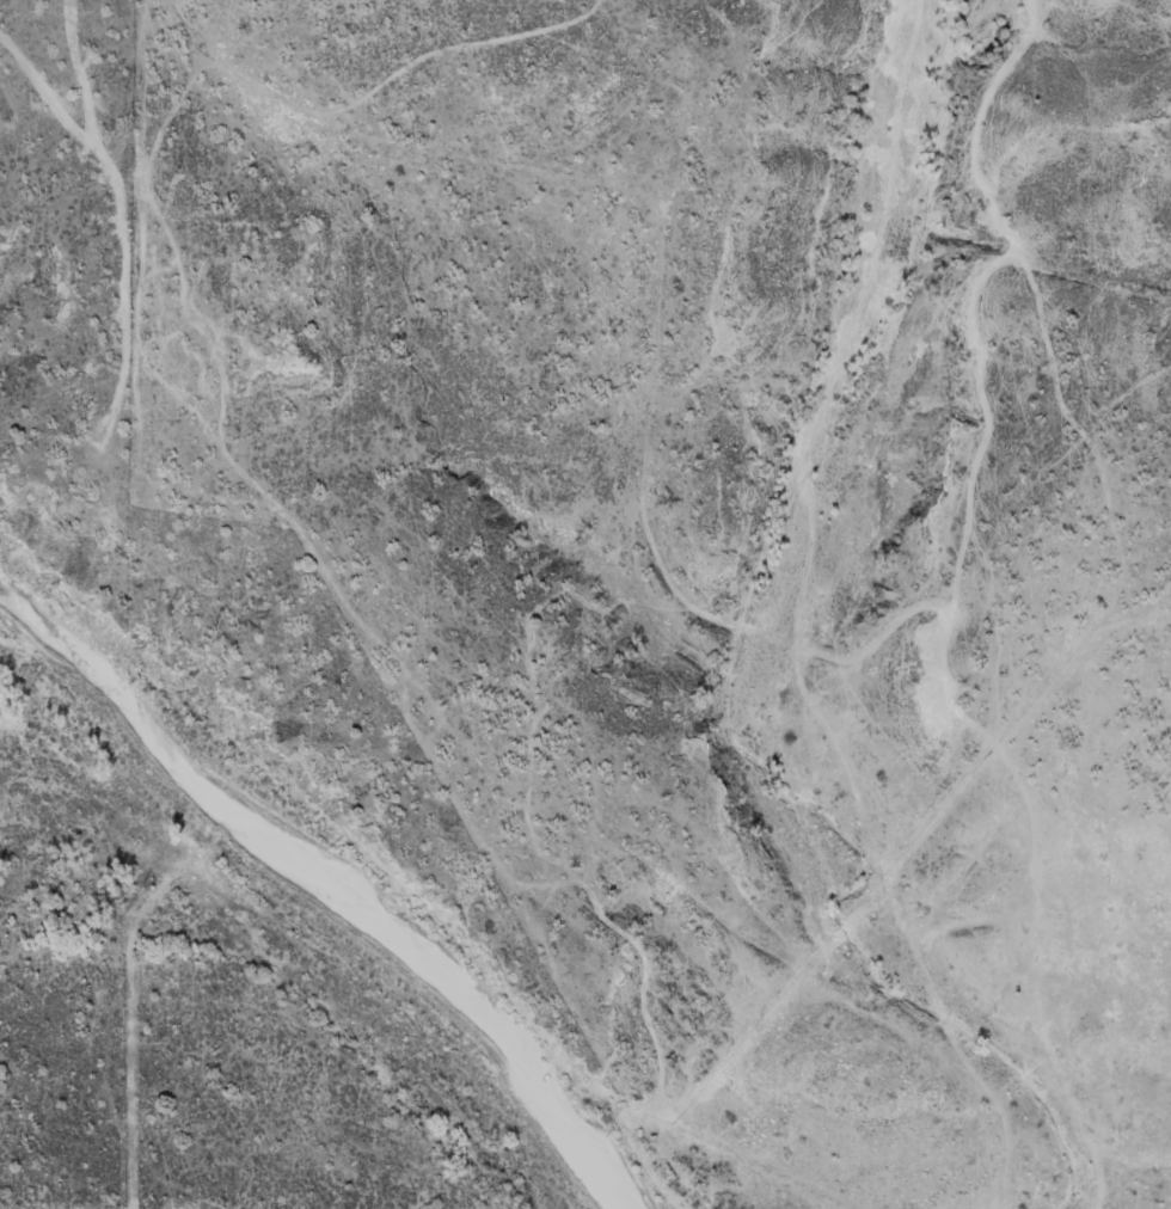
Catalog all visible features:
river: (431, 962)
road: (116, 994)

